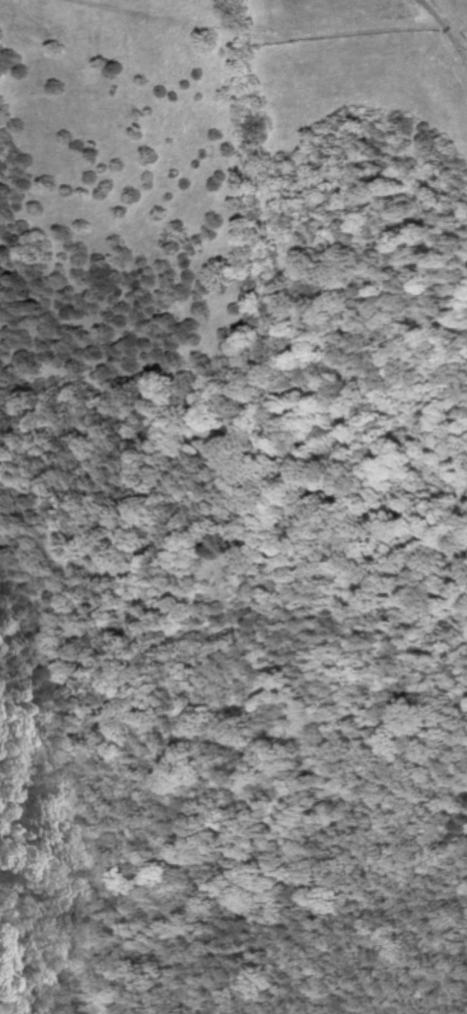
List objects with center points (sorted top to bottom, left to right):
road: (448, 21)

